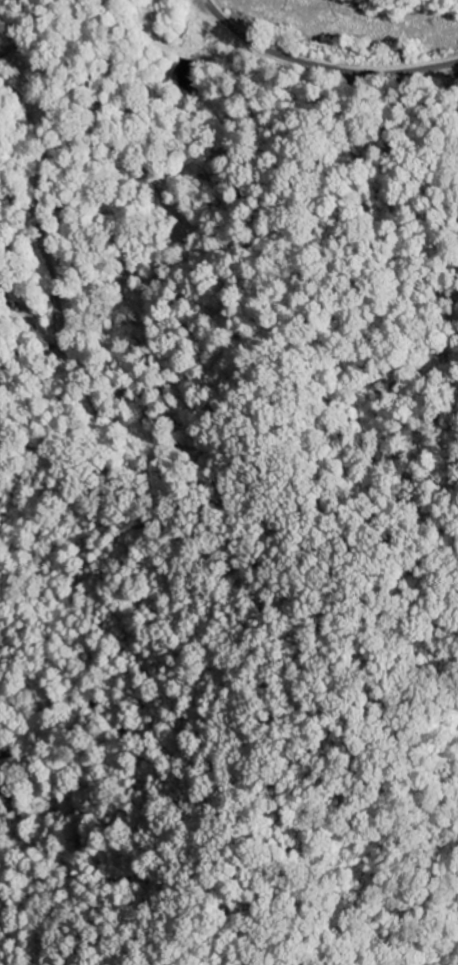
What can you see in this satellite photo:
road: (322, 67)

